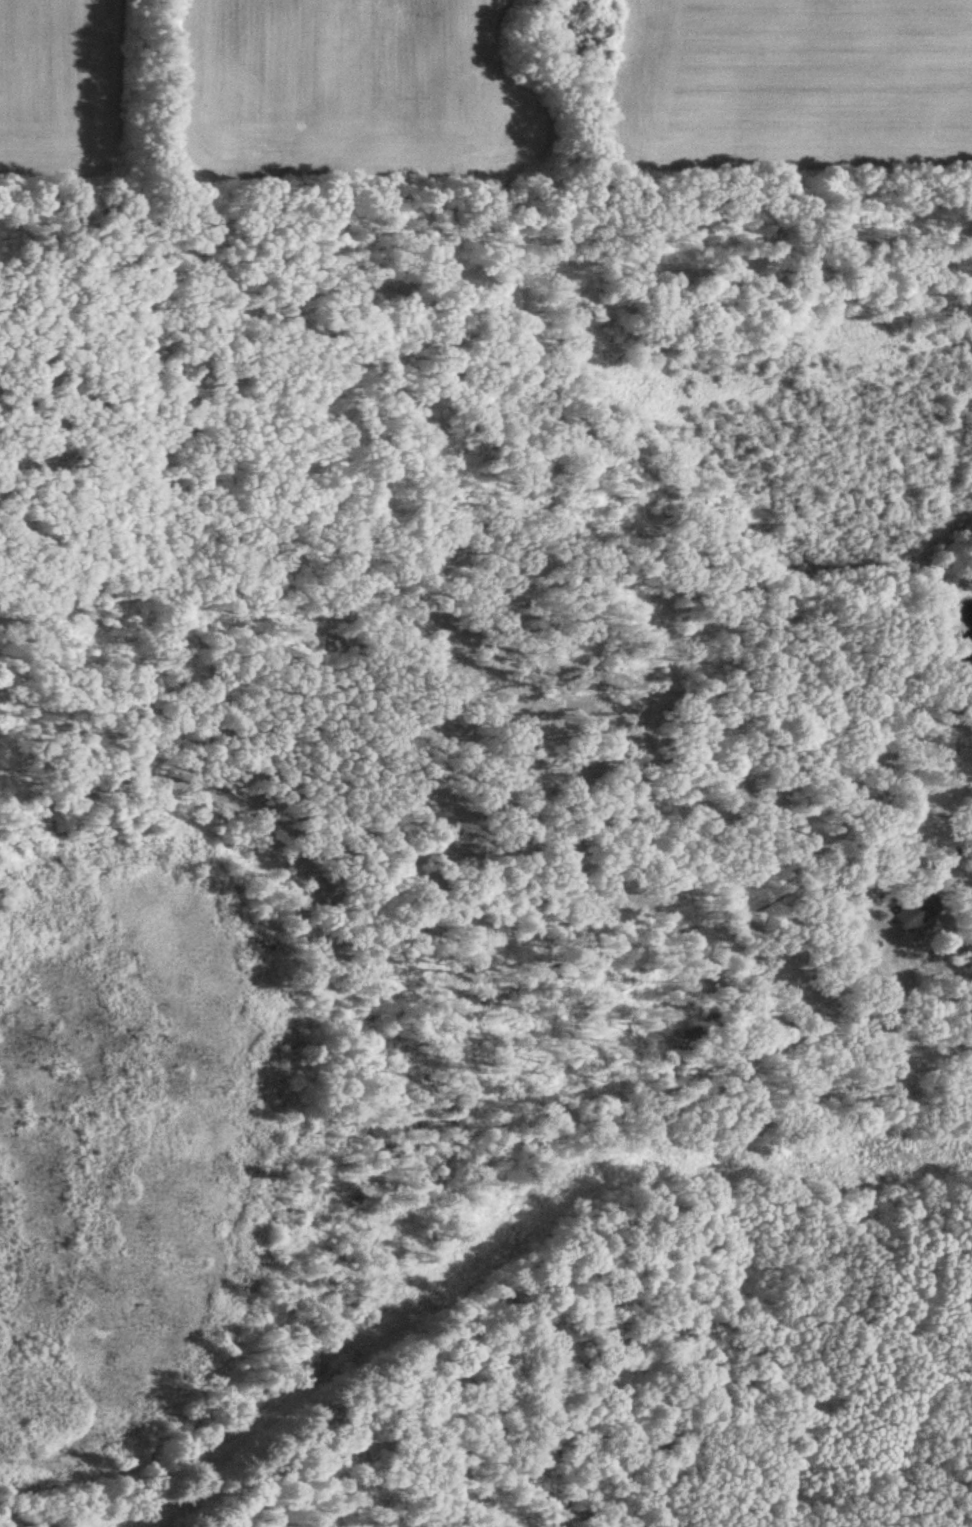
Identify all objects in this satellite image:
road: (951, 855)
building: (919, 912)

